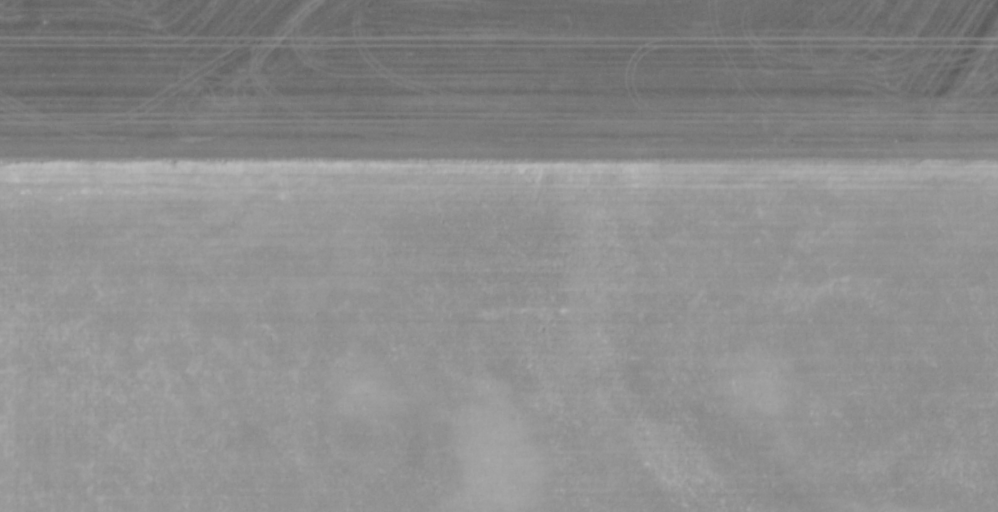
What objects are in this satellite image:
crop: (499, 256)

